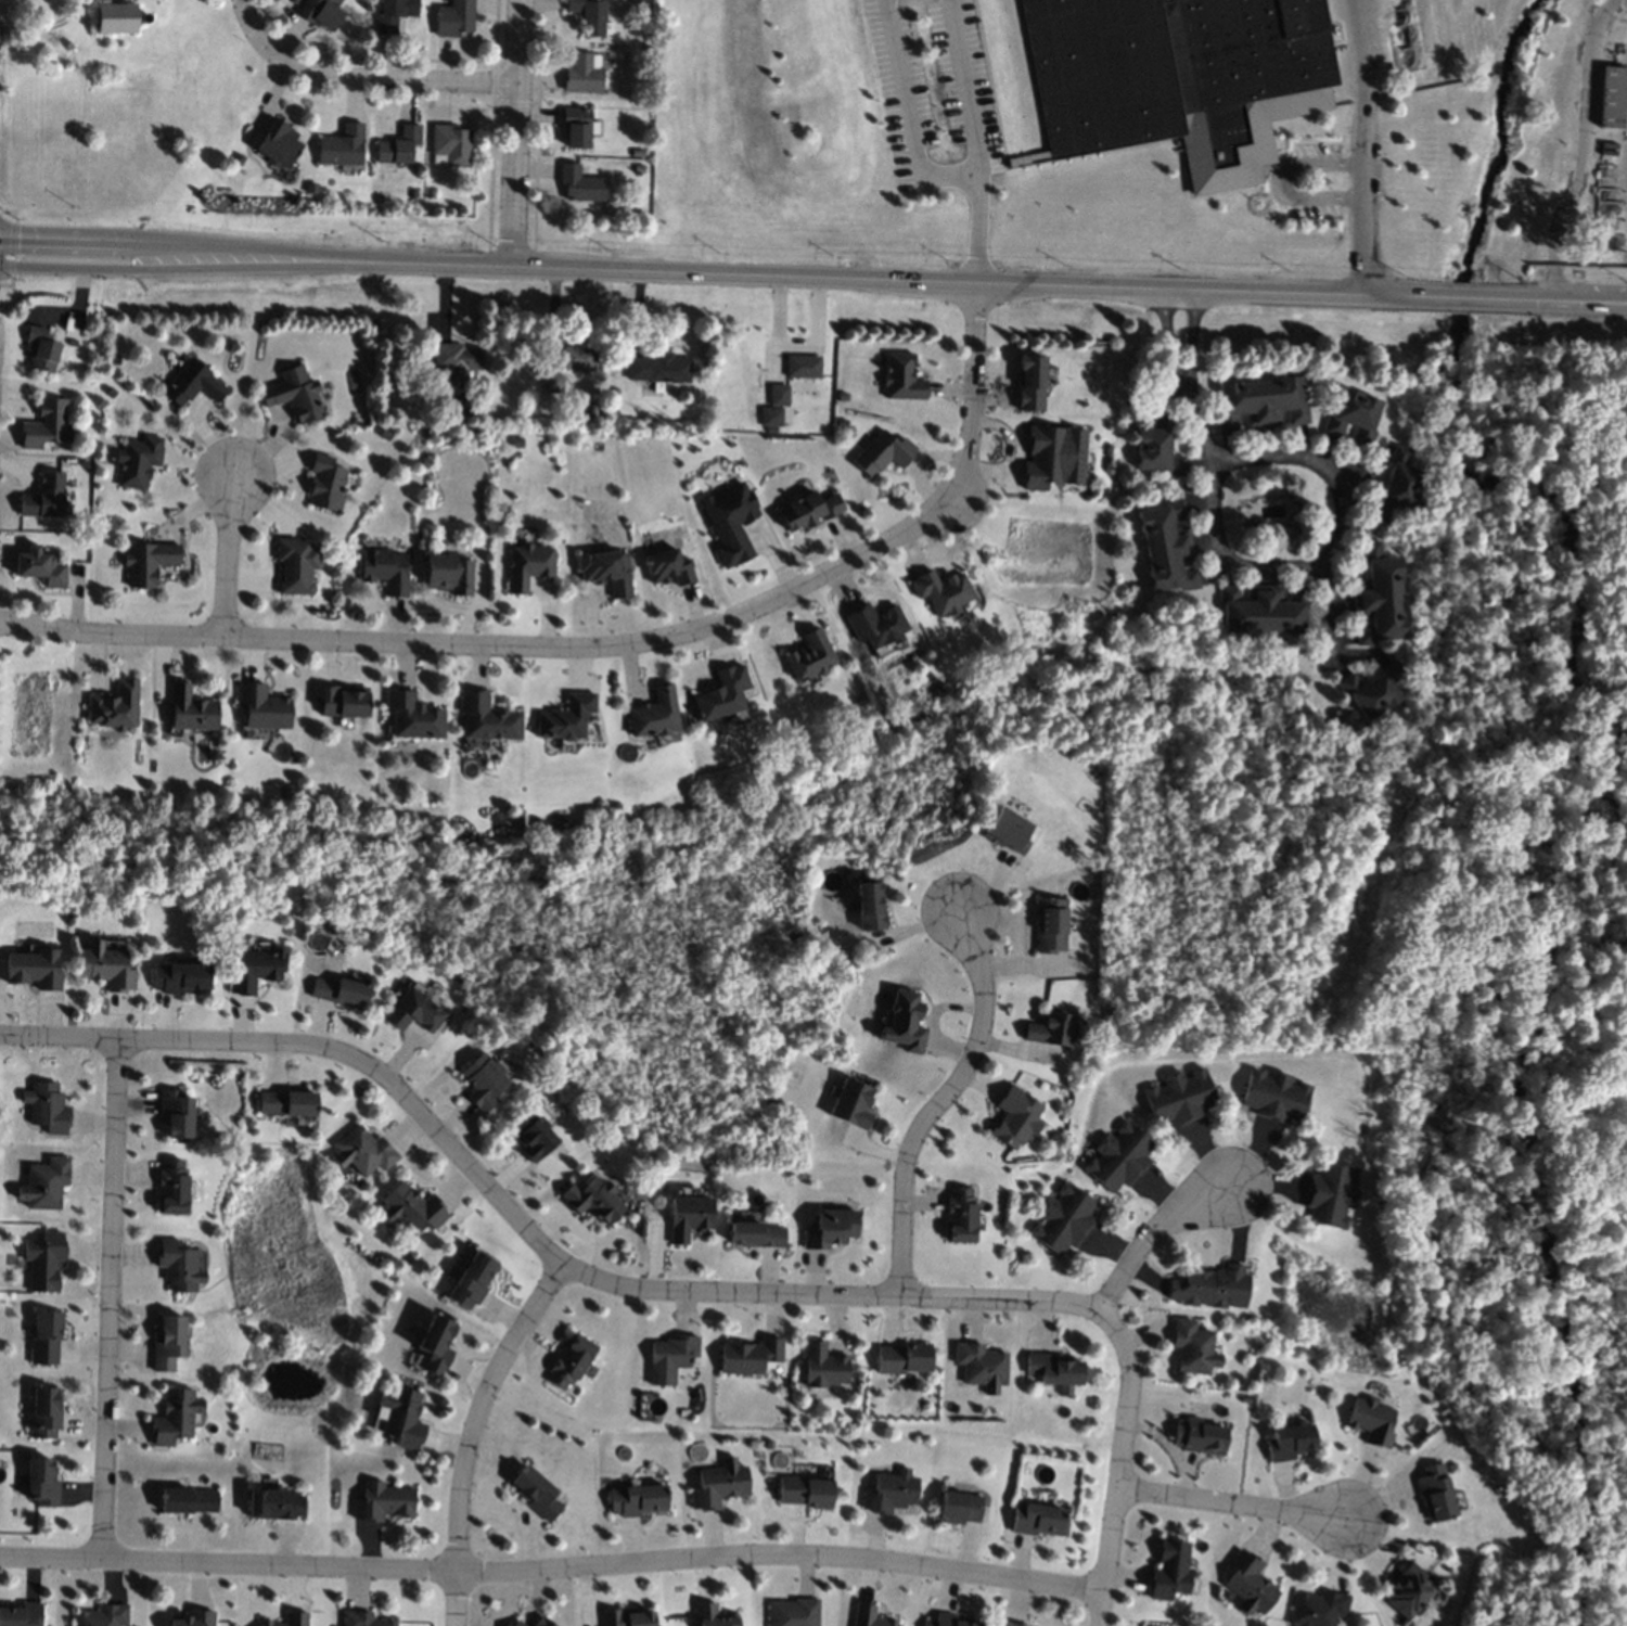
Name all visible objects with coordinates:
road: (244, 1)
building: (294, 1)
building: (635, 1)
building: (320, 13)
building: (393, 14)
building: (589, 15)
building: (454, 17)
building: (116, 18)
building: (77, 46)
road: (1359, 63)
building: (582, 74)
road: (364, 75)
building: (644, 77)
building: (1178, 77)
road: (965, 90)
building: (1611, 97)
road: (907, 107)
building: (576, 126)
road: (517, 131)
road: (1580, 143)
building: (278, 144)
building: (449, 144)
building: (342, 145)
building: (399, 145)
building: (638, 151)
building: (1027, 158)
building: (240, 159)
building: (639, 168)
road: (1280, 181)
building: (580, 183)
building: (311, 189)
building: (413, 193)
building: (432, 193)
road: (1361, 209)
road: (12, 210)
road: (976, 227)
traffic signals: (18, 238)
road: (66, 239)
road: (11, 247)
road: (261, 247)
road: (195, 268)
road: (682, 270)
road: (10, 284)
road: (1197, 290)
road: (1464, 297)
road: (1566, 300)
road: (1168, 336)
road: (1191, 336)
building: (72, 342)
building: (40, 349)
building: (577, 357)
building: (456, 358)
building: (114, 359)
building: (803, 364)
building: (658, 367)
building: (900, 376)
building: (551, 382)
building: (1027, 382)
building: (191, 383)
building: (382, 392)
building: (614, 392)
building: (294, 393)
building: (778, 394)
building: (1259, 402)
building: (471, 405)
building: (590, 412)
building: (778, 412)
building: (1353, 417)
building: (841, 421)
building: (43, 424)
road: (1201, 426)
building: (515, 441)
building: (1157, 446)
building: (881, 451)
building: (1053, 456)
building: (137, 460)
building: (325, 483)
building: (1396, 484)
building: (43, 497)
building: (806, 510)
building: (729, 521)
building: (1166, 546)
road: (1330, 552)
building: (148, 561)
building: (295, 564)
building: (527, 564)
building: (39, 566)
road: (229, 566)
building: (667, 566)
building: (383, 569)
building: (604, 569)
building: (447, 573)
building: (940, 590)
building: (1378, 597)
road: (1328, 604)
building: (1261, 609)
building: (874, 625)
road: (611, 655)
building: (807, 655)
building: (719, 692)
building: (1367, 692)
building: (337, 700)
building: (113, 705)
building: (260, 706)
building: (189, 708)
building: (651, 713)
building: (409, 715)
building: (1334, 715)
building: (483, 716)
building: (563, 717)
building: (1007, 830)
building: (868, 906)
building: (1048, 923)
building: (34, 966)
building: (104, 966)
building: (255, 969)
building: (178, 977)
building: (341, 993)
building: (1104, 1006)
building: (412, 1011)
building: (902, 1021)
building: (1051, 1028)
building: (482, 1080)
building: (1272, 1094)
building: (1178, 1097)
building: (285, 1101)
building: (849, 1104)
road: (940, 1104)
building: (46, 1106)
building: (172, 1111)
building: (1014, 1116)
building: (527, 1135)
building: (361, 1151)
building: (1117, 1156)
building: (43, 1183)
building: (168, 1186)
building: (1328, 1194)
building: (590, 1199)
building: (410, 1207)
building: (957, 1214)
building: (684, 1217)
building: (1062, 1218)
road: (526, 1228)
building: (829, 1228)
road: (1151, 1228)
building: (753, 1235)
building: (43, 1260)
building: (175, 1265)
building: (471, 1279)
building: (1210, 1286)
road: (107, 1298)
building: (44, 1336)
building: (167, 1344)
building: (434, 1344)
building: (1193, 1347)
building: (748, 1355)
building: (669, 1357)
building: (901, 1358)
building: (569, 1361)
building: (822, 1366)
building: (981, 1366)
building: (1052, 1369)
building: (1244, 1397)
building: (43, 1411)
building: (174, 1416)
building: (399, 1416)
building: (1370, 1421)
road: (469, 1433)
building: (1199, 1435)
building: (1289, 1442)
road: (1124, 1463)
building: (38, 1482)
building: (718, 1484)
building: (889, 1490)
building: (535, 1491)
building: (804, 1491)
building: (1433, 1491)
building: (636, 1498)
building: (185, 1499)
building: (381, 1501)
road: (1235, 1501)
building: (274, 1503)
building: (958, 1508)
building: (1037, 1520)
road: (551, 1564)
building: (1167, 1567)
building: (1248, 1582)
building: (1406, 1591)
building: (1317, 1608)
building: (792, 1613)
building: (21, 1614)
building: (102, 1615)
building: (713, 1616)
building: (625, 1617)
building: (869, 1617)
building: (193, 1618)
building: (287, 1619)
building: (362, 1619)
building: (947, 1621)
building: (542, 1622)
building: (516, 1623)
building: (1010, 1624)

